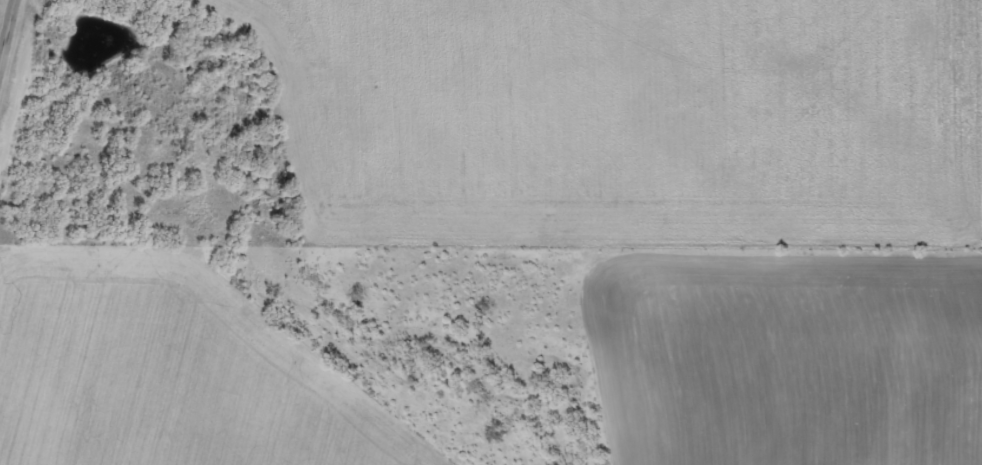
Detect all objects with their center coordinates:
road: (8, 37)

